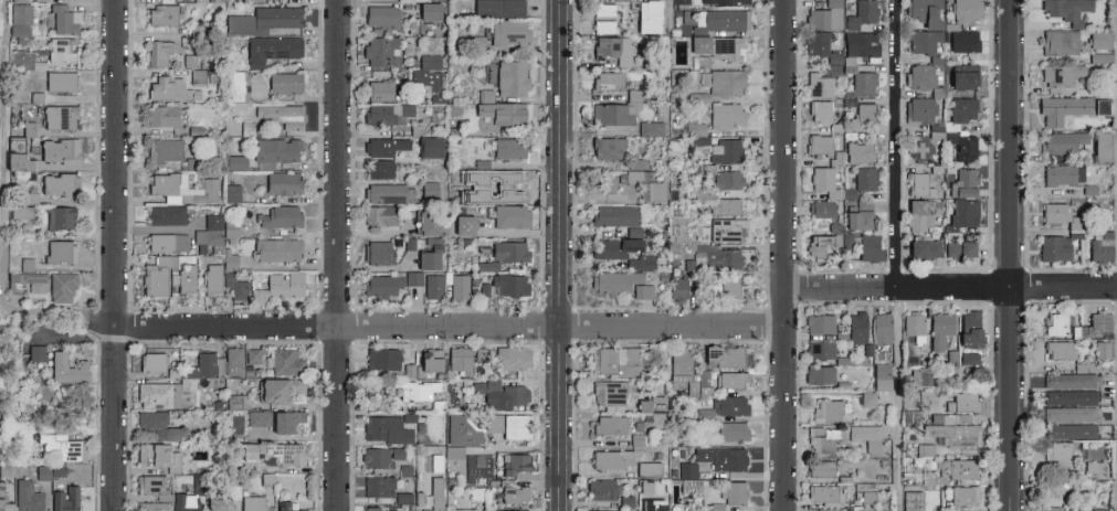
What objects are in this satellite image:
building: (206, 0)
building: (19, 1)
building: (679, 1)
building: (726, 1)
building: (497, 8)
building: (602, 9)
building: (966, 10)
building: (1065, 10)
building: (428, 11)
road: (668, 11)
building: (924, 12)
building: (20, 13)
building: (160, 14)
building: (644, 14)
building: (861, 14)
building: (380, 15)
building: (825, 17)
building: (721, 19)
building: (63, 20)
building: (262, 20)
building: (601, 26)
building: (507, 32)
building: (20, 33)
building: (961, 39)
building: (1099, 40)
building: (923, 41)
building: (1058, 42)
building: (698, 43)
building: (815, 43)
building: (726, 47)
building: (271, 49)
building: (611, 49)
building: (57, 51)
building: (160, 51)
building: (852, 51)
building: (380, 52)
building: (1097, 57)
building: (21, 58)
building: (426, 74)
building: (1060, 74)
building: (962, 75)
building: (920, 76)
building: (510, 77)
building: (608, 79)
building: (59, 82)
building: (284, 83)
building: (724, 83)
building: (863, 84)
building: (235, 85)
building: (819, 85)
building: (170, 89)
building: (378, 91)
building: (438, 98)
building: (699, 98)
building: (962, 109)
building: (615, 110)
building: (820, 110)
building: (919, 110)
building: (384, 113)
building: (864, 113)
building: (1057, 113)
building: (509, 114)
building: (160, 115)
building: (280, 115)
building: (726, 115)
building: (59, 117)
building: (246, 128)
building: (650, 128)
building: (194, 130)
building: (696, 134)
building: (1062, 141)
road: (898, 143)
building: (818, 145)
building: (383, 146)
building: (428, 146)
building: (963, 146)
building: (1100, 146)
building: (920, 147)
building: (507, 148)
building: (607, 148)
building: (275, 149)
building: (162, 150)
building: (57, 151)
building: (726, 151)
building: (858, 152)
building: (17, 162)
building: (235, 162)
building: (636, 163)
building: (378, 169)
building: (1063, 174)
building: (633, 175)
building: (702, 177)
building: (864, 178)
building: (728, 180)
building: (281, 182)
building: (963, 182)
building: (829, 183)
building: (56, 184)
building: (919, 184)
building: (182, 189)
building: (426, 190)
building: (655, 191)
building: (232, 193)
building: (389, 193)
building: (704, 195)
building: (29, 198)
building: (727, 206)
building: (821, 209)
building: (20, 212)
building: (963, 212)
road: (3, 213)
building: (165, 214)
building: (919, 214)
building: (379, 215)
building: (509, 215)
building: (614, 215)
building: (1061, 215)
building: (280, 216)
building: (858, 216)
building: (59, 217)
building: (212, 221)
building: (426, 222)
building: (463, 224)
building: (229, 228)
building: (727, 233)
building: (207, 238)
building: (846, 239)
building: (167, 243)
building: (821, 243)
building: (1100, 246)
building: (613, 247)
building: (868, 248)
building: (924, 248)
building: (959, 248)
building: (1054, 248)
building: (276, 249)
building: (509, 251)
building: (59, 252)
building: (378, 253)
road: (115, 255)
road: (338, 255)
road: (557, 255)
road: (784, 255)
road: (1009, 255)
building: (717, 257)
building: (428, 258)
building: (229, 260)
building: (641, 262)
building: (25, 264)
building: (487, 266)
building: (210, 274)
building: (158, 275)
building: (183, 277)
building: (30, 280)
building: (613, 281)
building: (390, 283)
building: (457, 285)
building: (508, 285)
building: (278, 286)
building: (433, 286)
road: (950, 286)
building: (61, 287)
building: (236, 287)
building: (728, 287)
building: (677, 288)
building: (483, 289)
building: (642, 291)
road: (444, 308)
road: (540, 320)
building: (819, 323)
building: (1055, 323)
road: (352, 324)
road: (450, 326)
building: (913, 326)
building: (1093, 326)
building: (855, 327)
building: (881, 328)
building: (939, 329)
building: (968, 330)
road: (446, 340)
building: (820, 349)
building: (1058, 350)
building: (1103, 350)
building: (33, 352)
building: (480, 353)
building: (728, 355)
building: (251, 356)
building: (950, 356)
building: (510, 358)
building: (968, 358)
building: (381, 359)
building: (459, 360)
building: (151, 361)
building: (231, 361)
building: (429, 361)
building: (615, 361)
building: (285, 362)
building: (678, 365)
building: (64, 369)
building: (199, 370)
building: (408, 371)
building: (819, 374)
building: (881, 376)
building: (921, 376)
building: (704, 377)
building: (733, 380)
building: (1071, 381)
building: (692, 387)
building: (277, 390)
building: (413, 390)
building: (156, 394)
building: (499, 394)
building: (608, 395)
building: (1069, 396)
building: (864, 398)
road: (896, 398)
building: (962, 402)
building: (651, 405)
building: (731, 405)
building: (826, 411)
building: (705, 414)
building: (1072, 414)
building: (909, 416)
building: (961, 418)
building: (275, 420)
building: (158, 425)
building: (506, 425)
building: (609, 425)
building: (386, 429)
building: (461, 430)
building: (731, 430)
building: (1072, 430)
building: (952, 435)
building: (866, 437)
building: (820, 439)
building: (62, 447)
building: (249, 450)
building: (924, 450)
building: (453, 451)
building: (1063, 453)
building: (285, 454)
building: (380, 457)
building: (721, 458)
building: (611, 459)
building: (514, 464)
building: (477, 466)
building: (820, 468)
building: (6, 469)
building: (404, 469)
building: (649, 469)
building: (49, 470)
building: (949, 471)
building: (688, 478)
building: (150, 485)
building: (377, 487)
building: (643, 487)
building: (1065, 487)
building: (600, 490)
building: (735, 492)
building: (434, 493)
building: (471, 493)
building: (0, 494)
building: (514, 494)
building: (824, 494)
building: (27, 497)
building: (403, 498)
building: (963, 498)
building: (64, 499)
building: (625, 501)
building: (911, 501)
building: (182, 502)
building: (253, 503)
building: (215, 504)
building: (651, 505)
building: (150, 507)
building: (285, 507)
building: (717, 507)
building: (1052, 509)
building: (386, 510)
building: (460, 510)
building: (516, 510)
building: (599, 510)
building: (852, 510)
building: (881, 510)
building: (936, 510)
building: (1099, 510)

